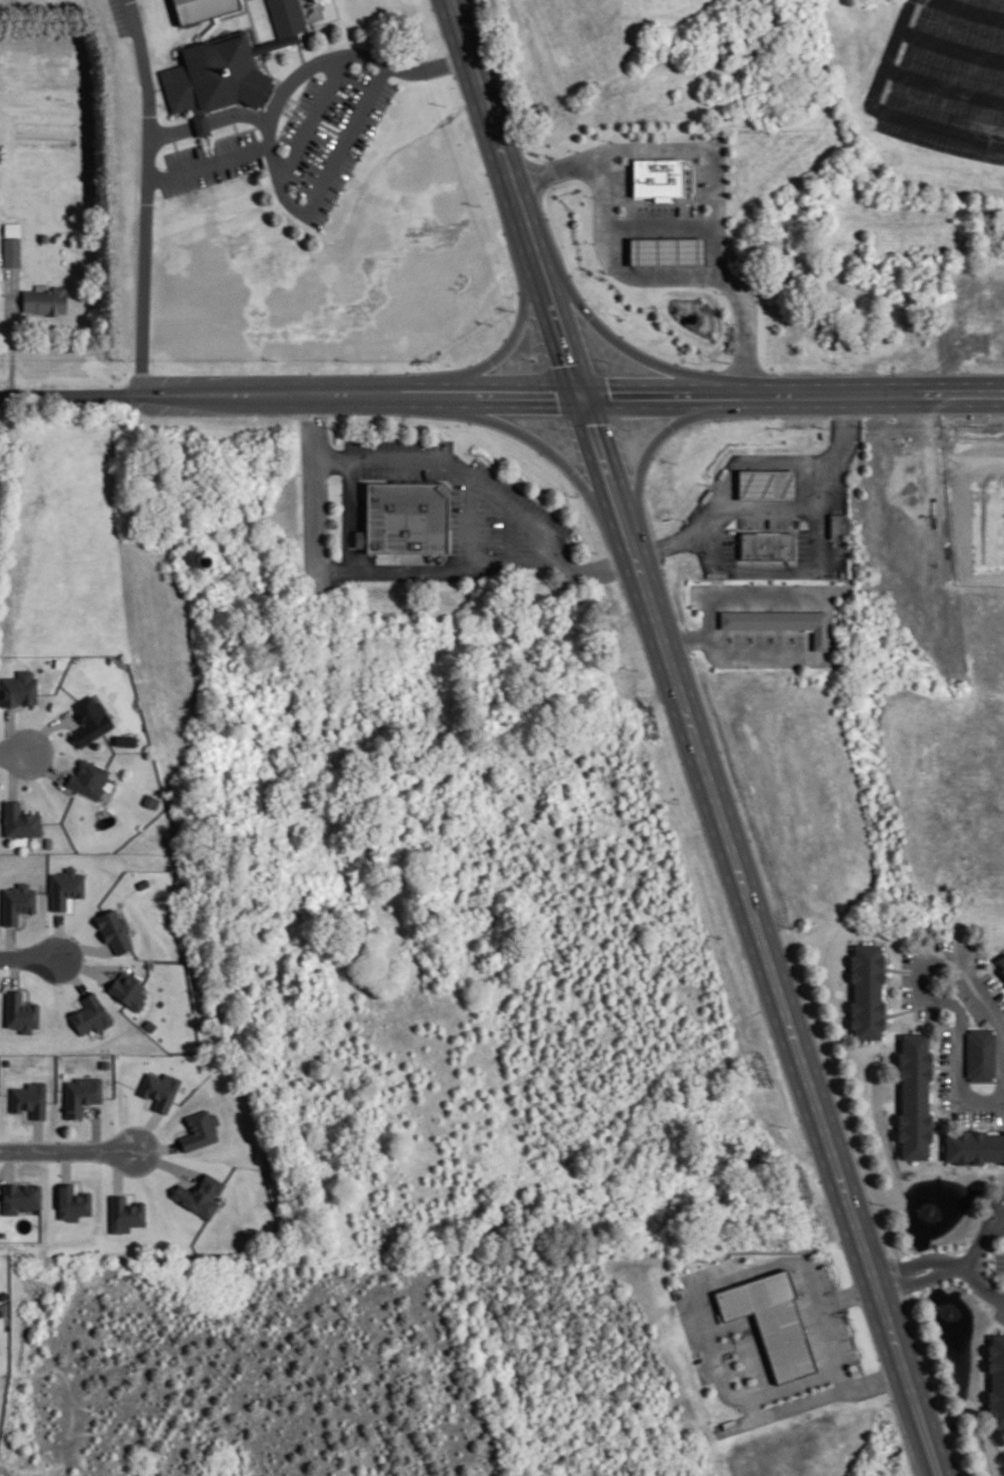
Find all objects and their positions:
building: (200, 8)
road: (972, 9)
building: (161, 12)
building: (286, 16)
road: (950, 46)
road: (305, 69)
building: (218, 72)
parking lot: (944, 77)
street lamp: (159, 103)
road: (883, 111)
road: (312, 118)
road: (209, 119)
road: (492, 122)
road: (233, 123)
parking lot: (331, 135)
street lamp: (371, 136)
street lamp: (260, 137)
road: (347, 138)
street lamp: (708, 138)
road: (209, 139)
street lamp: (609, 139)
road: (174, 140)
road: (207, 144)
road: (671, 148)
street lamp: (575, 149)
street lamp: (619, 159)
parking lot: (211, 162)
road: (208, 163)
street lamp: (165, 167)
road: (695, 173)
building: (656, 176)
street lamp: (231, 180)
parking lot: (702, 180)
parking lot: (623, 181)
street lamp: (552, 185)
street lamp: (344, 187)
street lamp: (195, 190)
street lamp: (727, 194)
street lamp: (590, 195)
road: (146, 196)
road: (659, 201)
parking lot: (664, 210)
street lamp: (706, 214)
street lamp: (621, 215)
road: (659, 226)
building: (11, 227)
building: (985, 233)
building: (44, 236)
building: (665, 249)
gas station: (665, 249)
building: (11, 250)
road: (535, 252)
road: (674, 274)
street lamp: (721, 292)
building: (44, 299)
street lamp: (731, 322)
road: (559, 326)
road: (12, 333)
road: (615, 341)
road: (510, 343)
road: (76, 394)
road: (287, 394)
road: (429, 394)
road: (509, 394)
road: (645, 395)
road: (720, 395)
road: (875, 395)
road: (739, 396)
road: (543, 445)
street lamp: (857, 449)
road: (647, 450)
street lamp: (475, 452)
road: (604, 462)
street lamp: (707, 482)
building: (765, 483)
gas station: (765, 483)
road: (489, 488)
road: (315, 490)
street lamp: (848, 492)
street lamp: (573, 495)
road: (749, 507)
road: (349, 514)
building: (403, 516)
street lamp: (682, 518)
road: (470, 520)
parking lot: (765, 520)
building: (837, 526)
road: (510, 530)
road: (629, 538)
parking lot: (729, 543)
parking lot: (802, 544)
road: (661, 545)
building: (765, 545)
road: (819, 545)
road: (633, 549)
street lamp: (490, 550)
street lamp: (683, 551)
road: (635, 556)
road: (441, 569)
street lamp: (708, 578)
street lamp: (829, 579)
road: (716, 580)
building: (779, 620)
road: (831, 635)
building: (18, 688)
building: (89, 719)
road: (46, 727)
road: (9, 729)
building: (124, 739)
road: (14, 752)
road: (43, 765)
road: (12, 775)
building: (88, 777)
road: (23, 799)
building: (149, 799)
building: (19, 820)
building: (47, 841)
building: (65, 888)
building: (17, 903)
building: (114, 931)
parking lot: (940, 943)
road: (28, 957)
parking lot: (907, 958)
parking lot: (980, 958)
building: (1001, 962)
road: (772, 967)
road: (902, 969)
parking lot: (987, 980)
street lamp: (59, 983)
parking lot: (906, 989)
building: (128, 990)
building: (865, 990)
parking lot: (968, 999)
road: (954, 1005)
parking lot: (925, 1012)
building: (20, 1013)
building: (90, 1015)
road: (1003, 1027)
parking lot: (945, 1039)
building: (980, 1054)
building: (103, 1063)
parking lot: (944, 1088)
building: (159, 1090)
building: (79, 1093)
building: (913, 1095)
building: (29, 1099)
parking lot: (959, 1114)
parking lot: (989, 1114)
road: (95, 1129)
building: (200, 1130)
building: (974, 1146)
road: (67, 1150)
road: (162, 1162)
building: (199, 1194)
building: (20, 1198)
building: (72, 1203)
building: (125, 1215)
road: (1000, 1226)
road: (979, 1242)
parking lot: (999, 1260)
road: (912, 1263)
street lamp: (912, 1273)
road: (916, 1280)
road: (976, 1288)
flagpole: (832, 1313)
parking lot: (999, 1314)
building: (771, 1320)
road: (708, 1331)
road: (828, 1337)
building: (0, 1354)
building: (995, 1381)
road: (923, 1426)

